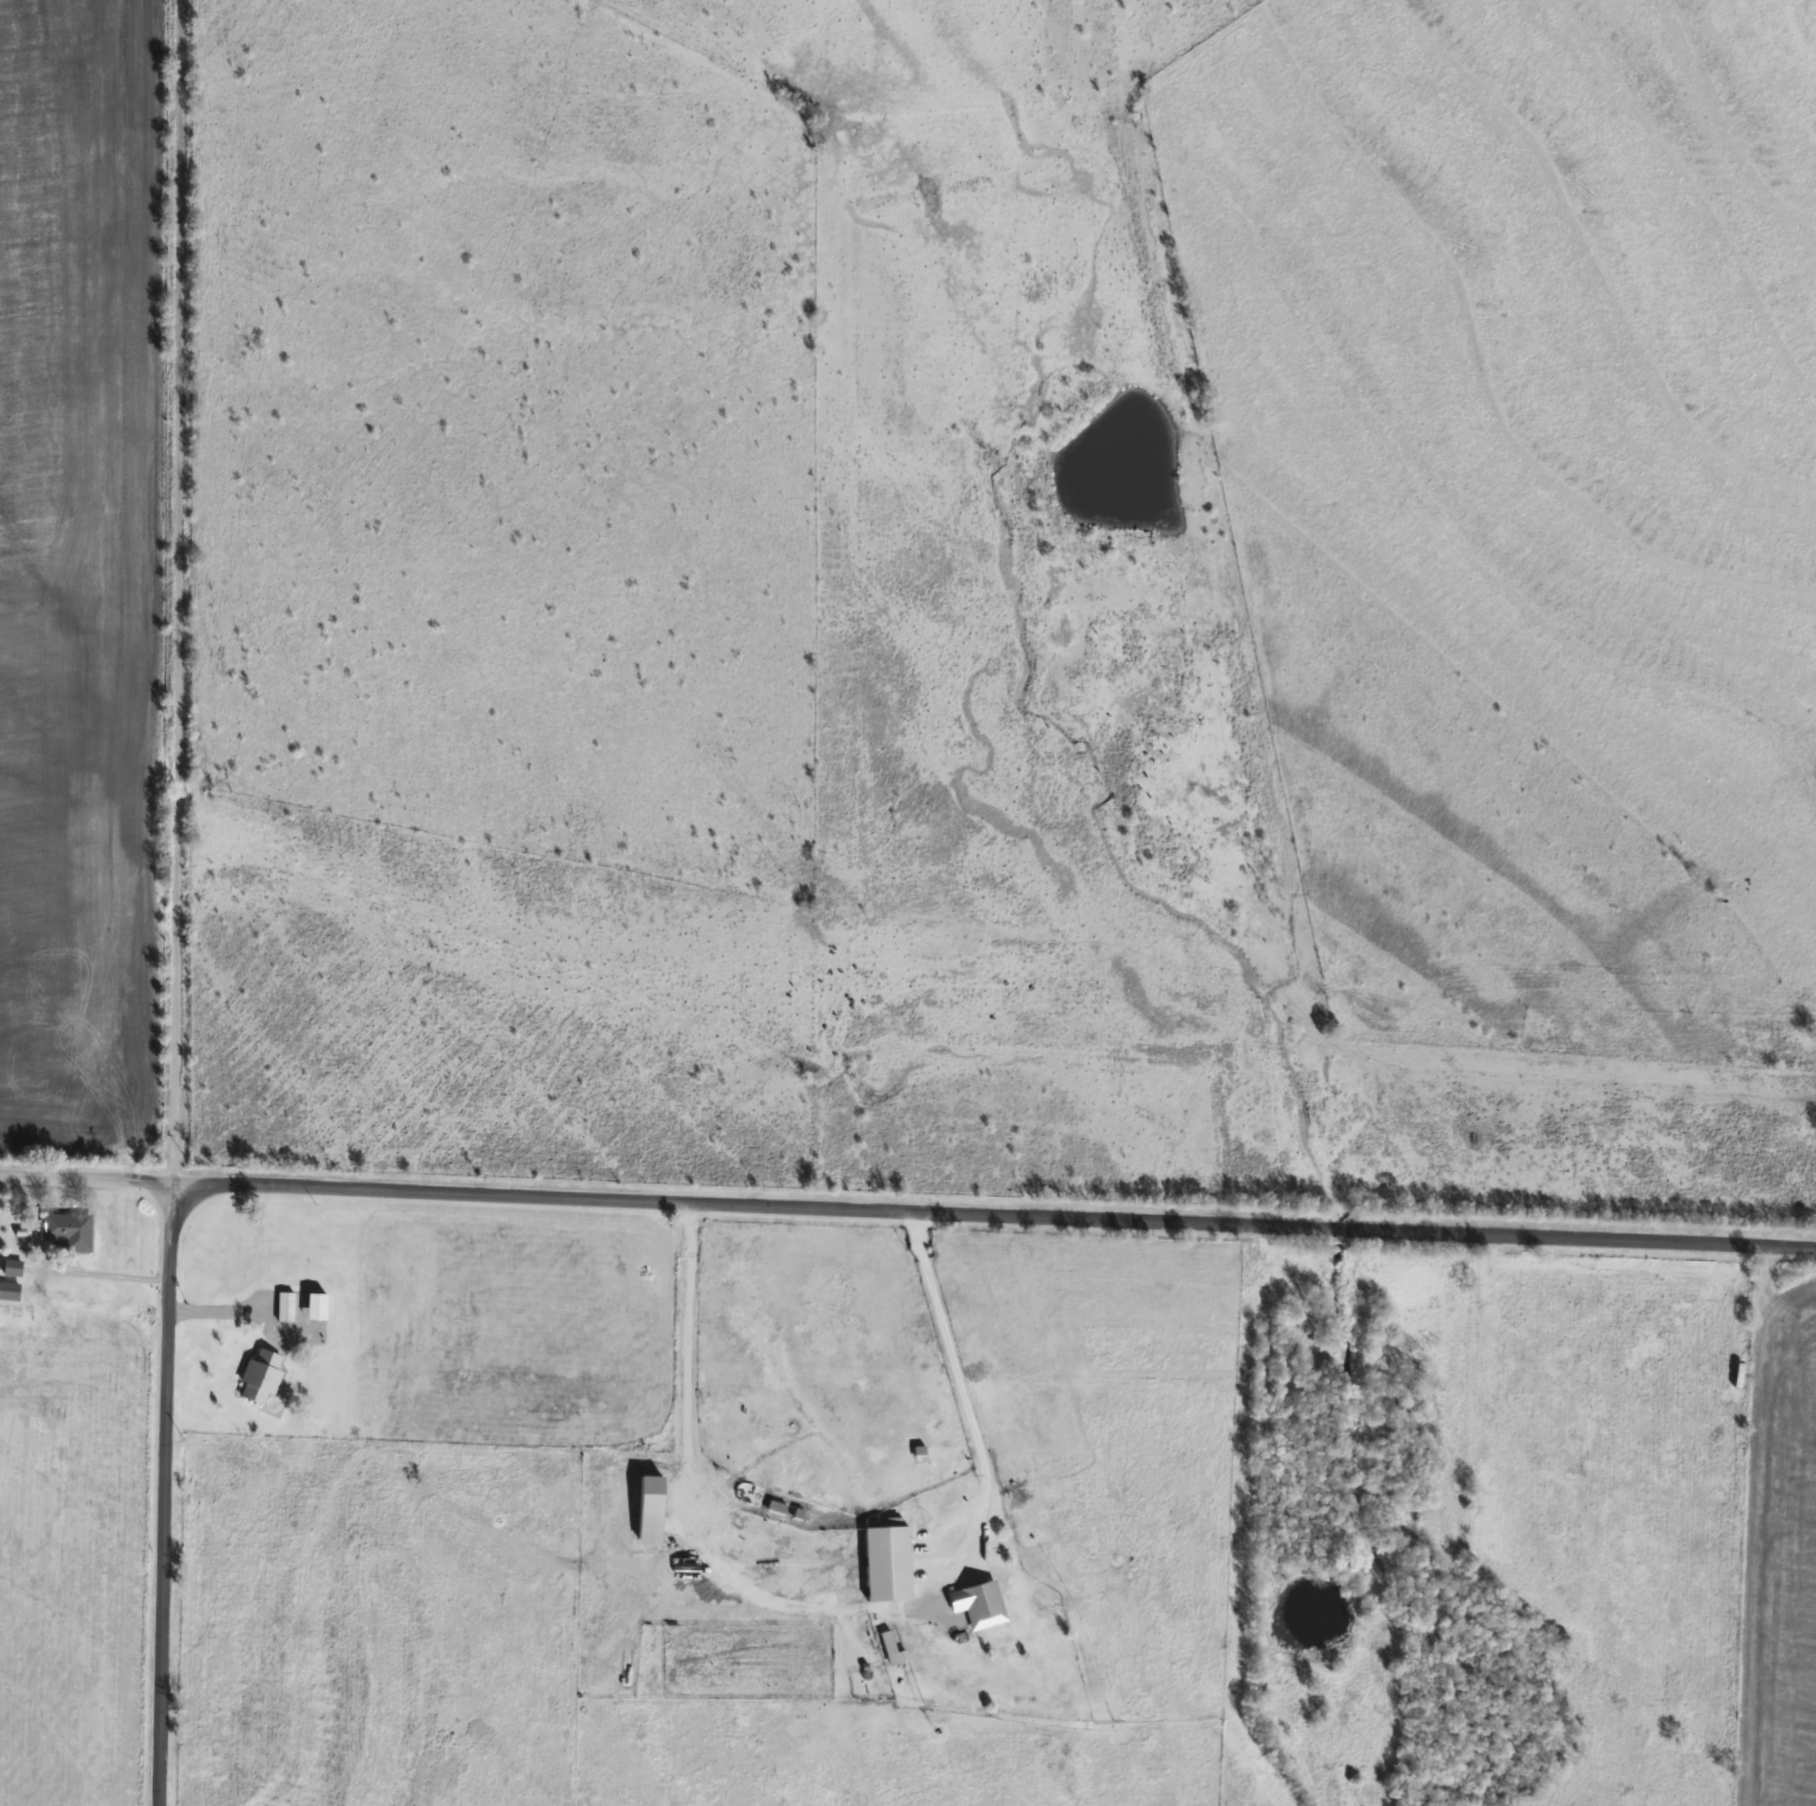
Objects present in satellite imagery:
road: (175, 590)
road: (87, 1177)
road: (994, 1215)
building: (66, 1230)
building: (11, 1267)
building: (8, 1291)
building: (284, 1305)
building: (260, 1374)
road: (161, 1492)
building: (649, 1508)
building: (886, 1562)
building: (978, 1602)
road: (836, 1606)
building: (891, 1649)

